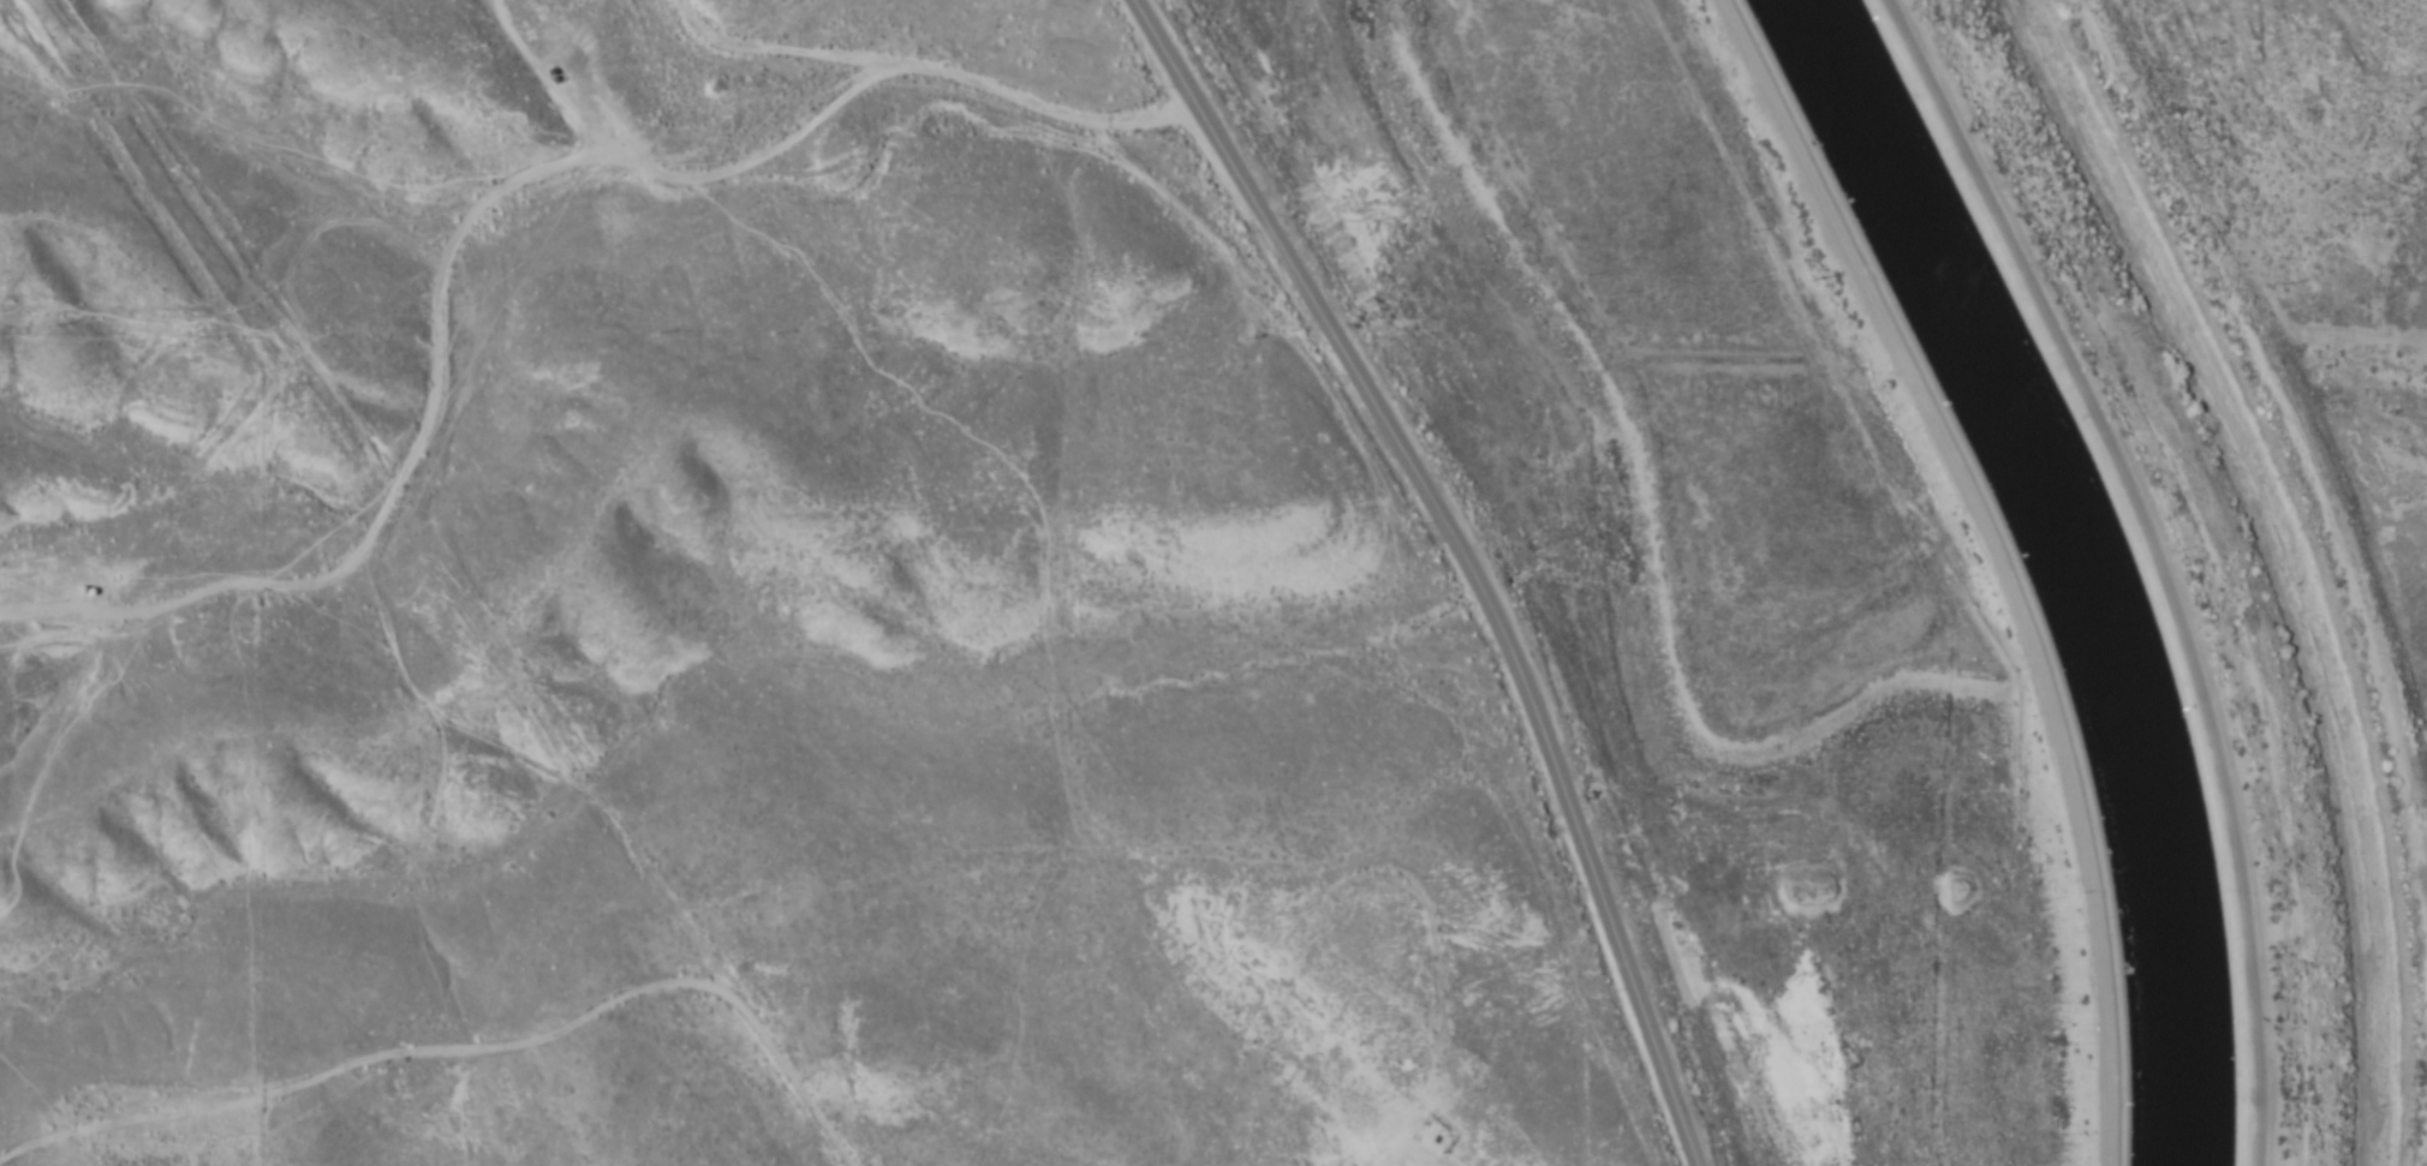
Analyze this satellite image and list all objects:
road: (2423, 4)
road: (905, 5)
road: (592, 191)
road: (1997, 557)
road: (2158, 557)
road: (1465, 560)
crop: (834, 597)

